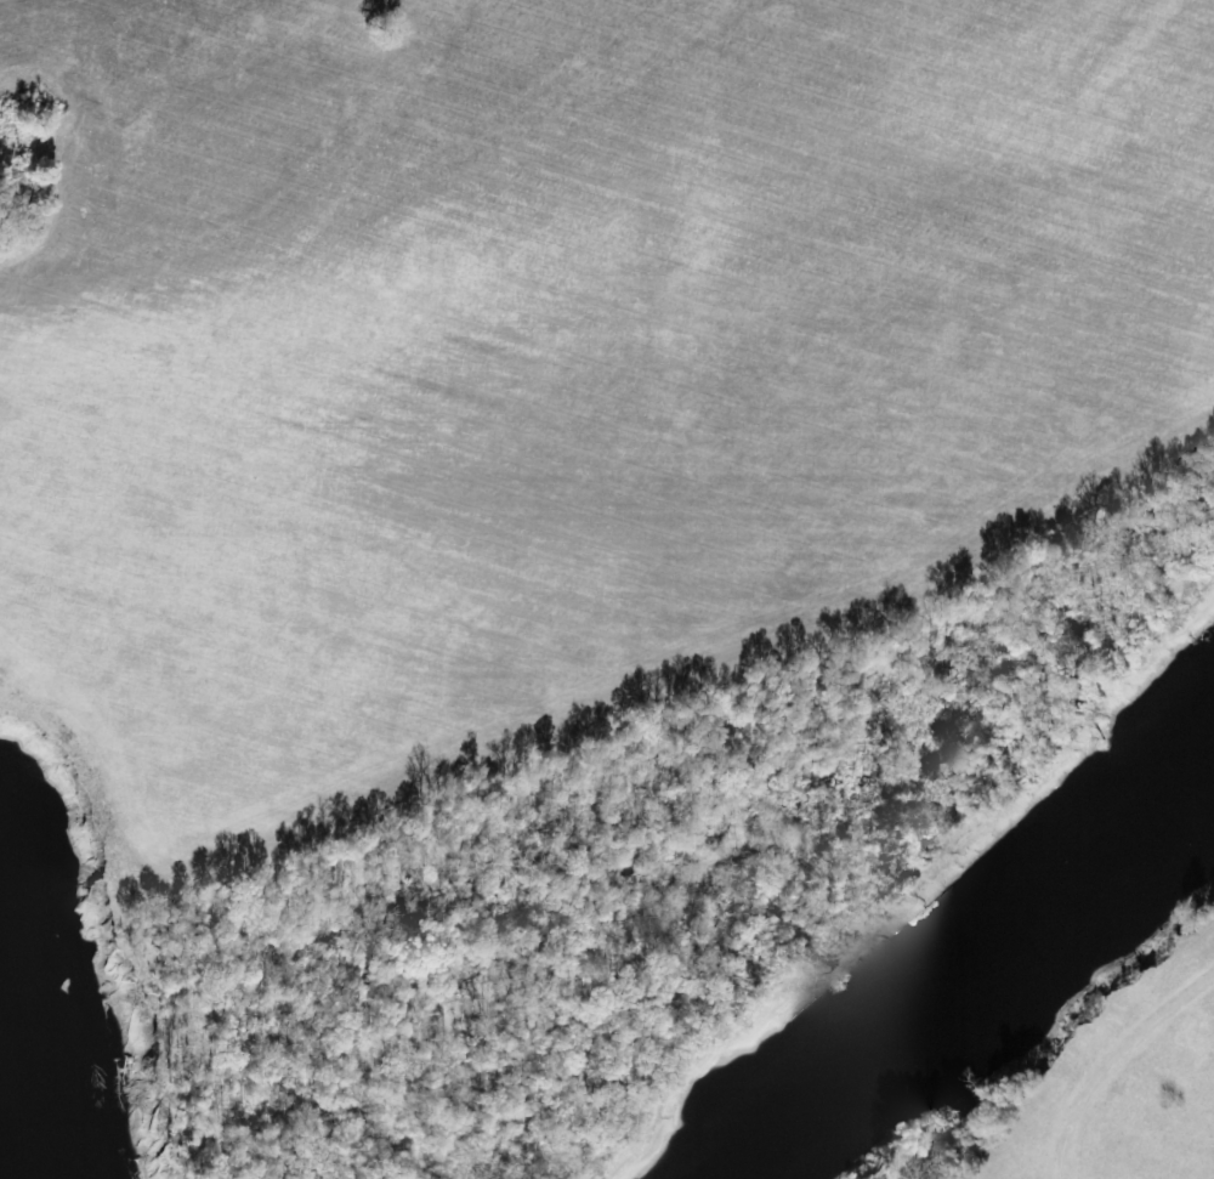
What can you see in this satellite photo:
river: (986, 951)

